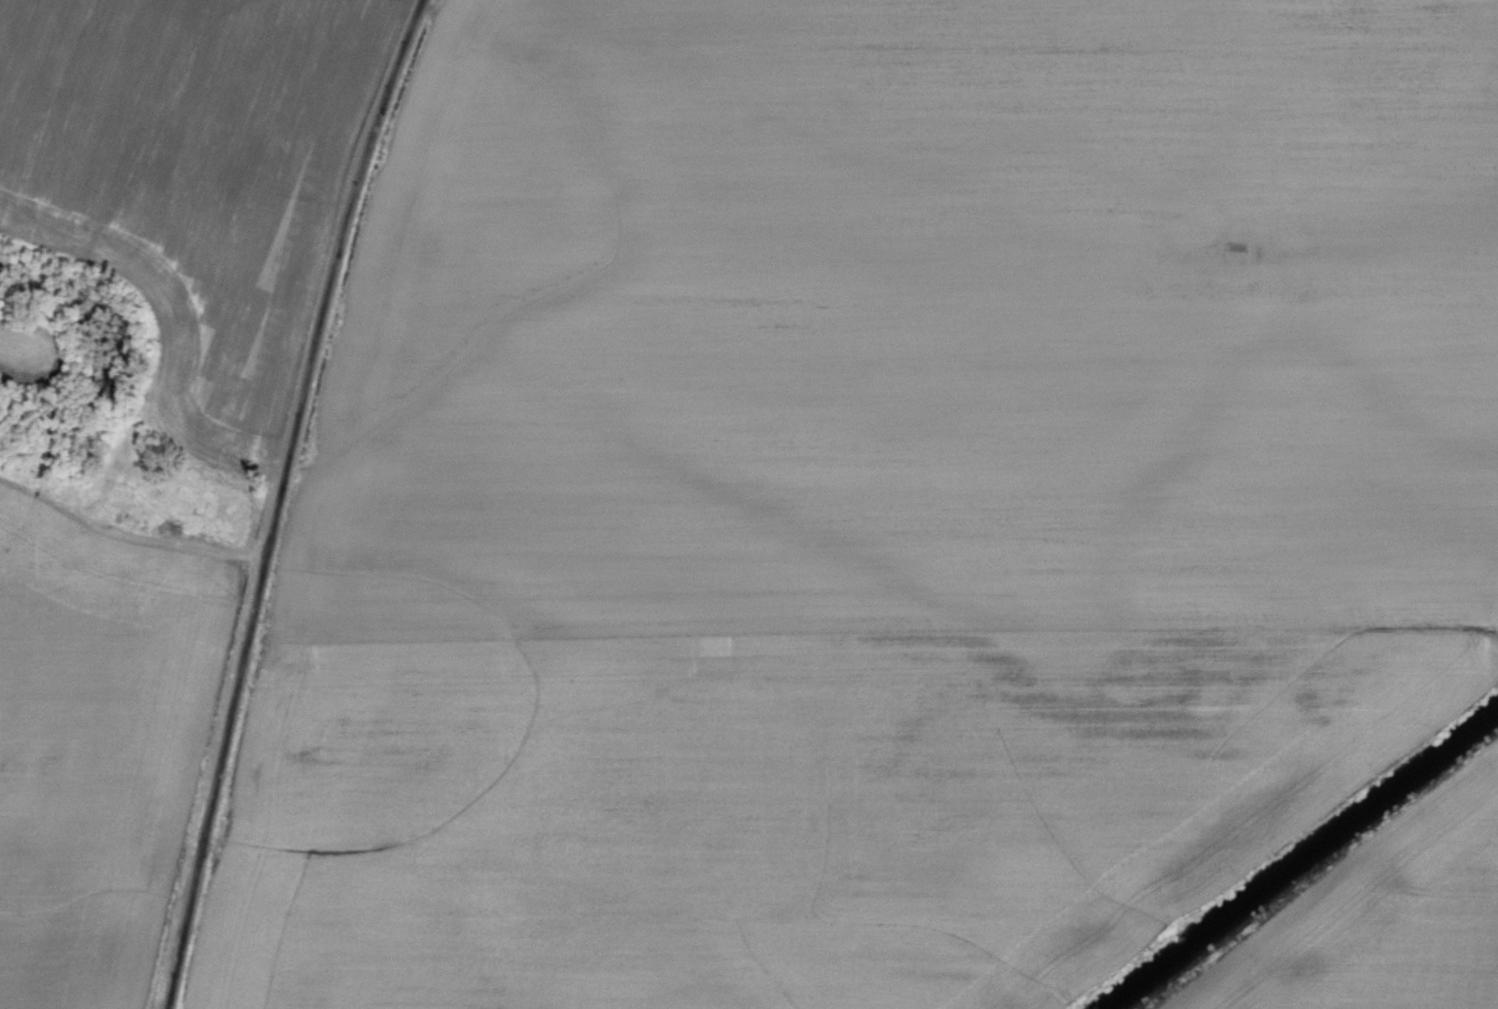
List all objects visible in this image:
road: (286, 286)
road: (105, 535)
road: (175, 788)

